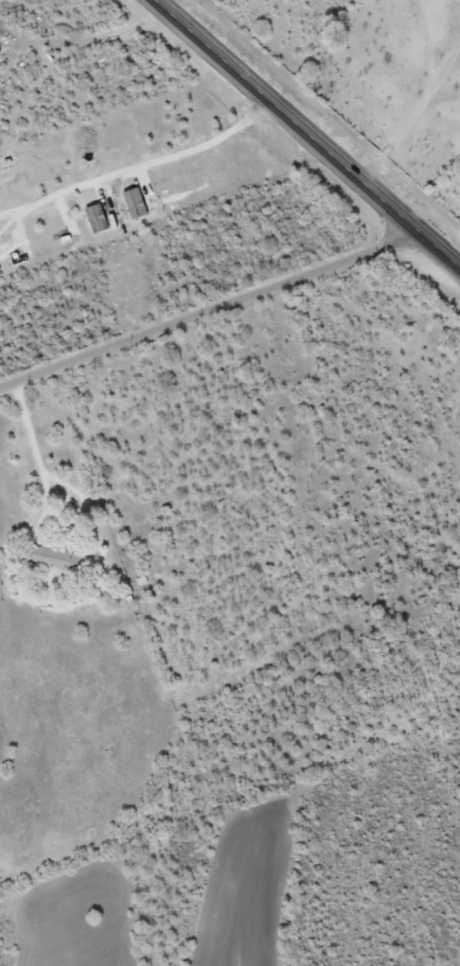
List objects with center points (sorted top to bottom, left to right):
railway: (348, 99)
road: (414, 115)
road: (310, 130)
road: (212, 310)
building: (52, 560)

